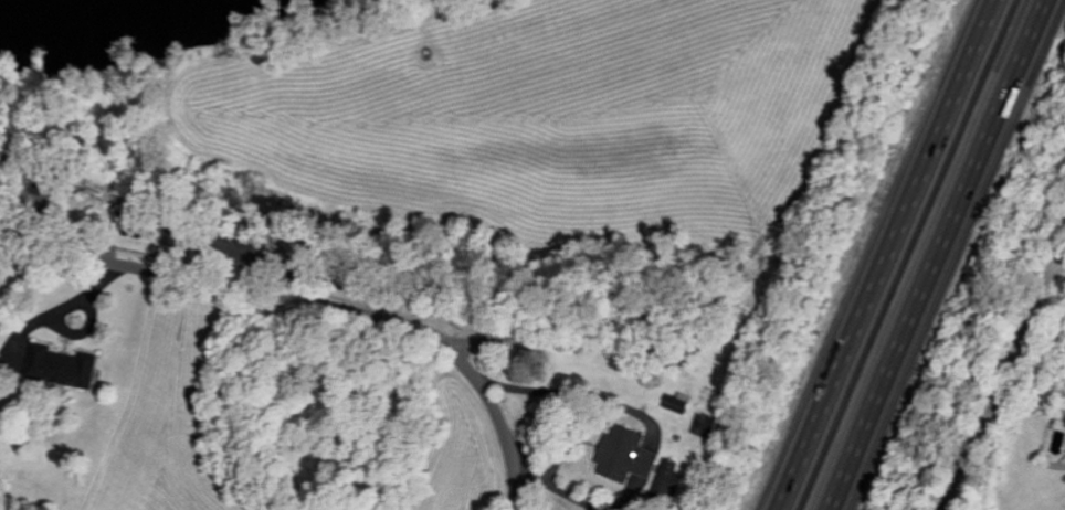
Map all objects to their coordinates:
river: (34, 6)
building: (8, 158)
road: (878, 254)
road: (948, 256)
road: (317, 302)
building: (64, 364)
road: (1003, 384)
building: (679, 403)
building: (629, 454)
building: (669, 474)

